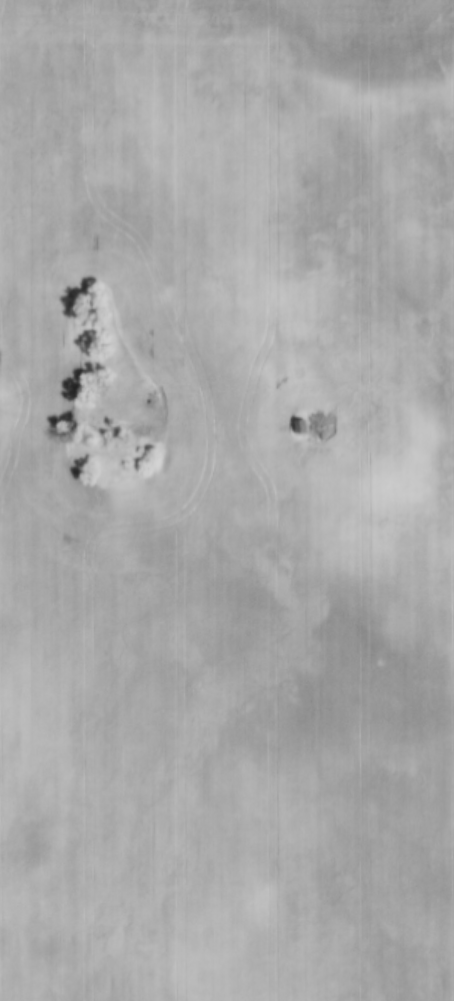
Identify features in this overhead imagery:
building: (298, 428)

